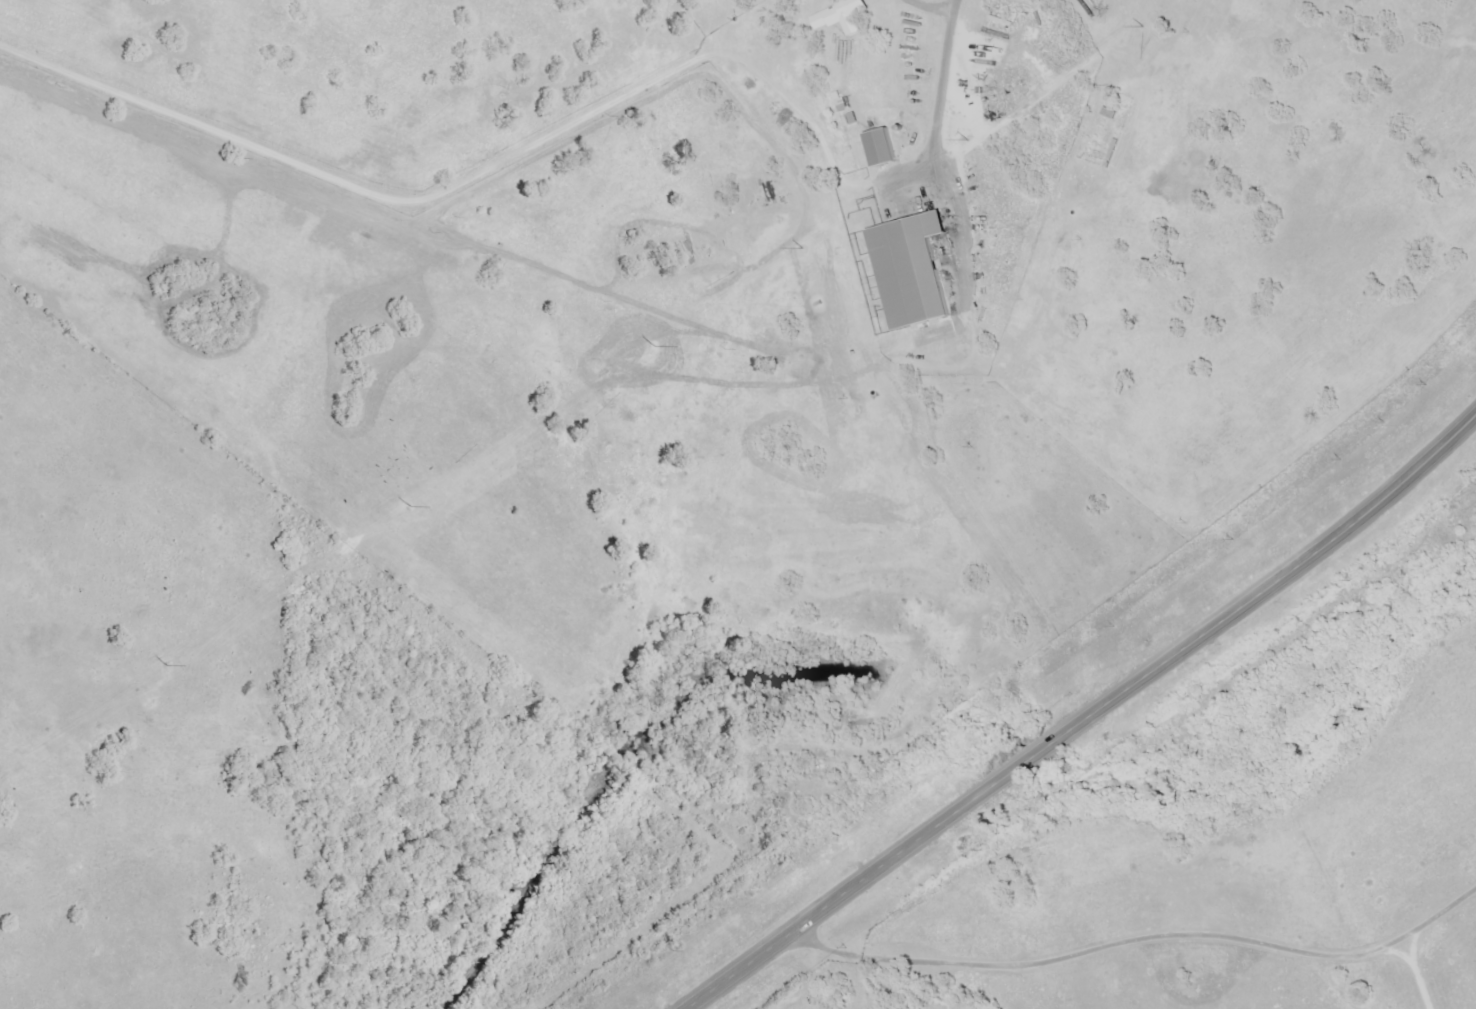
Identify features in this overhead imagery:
building: (836, 16)
power tower: (1141, 27)
road: (568, 126)
power tower: (968, 139)
building: (878, 148)
power tower: (801, 249)
building: (908, 271)
power tower: (652, 346)
power tower: (407, 505)
railway: (1025, 666)
power tower: (164, 667)
road: (1087, 718)
road: (1139, 941)

